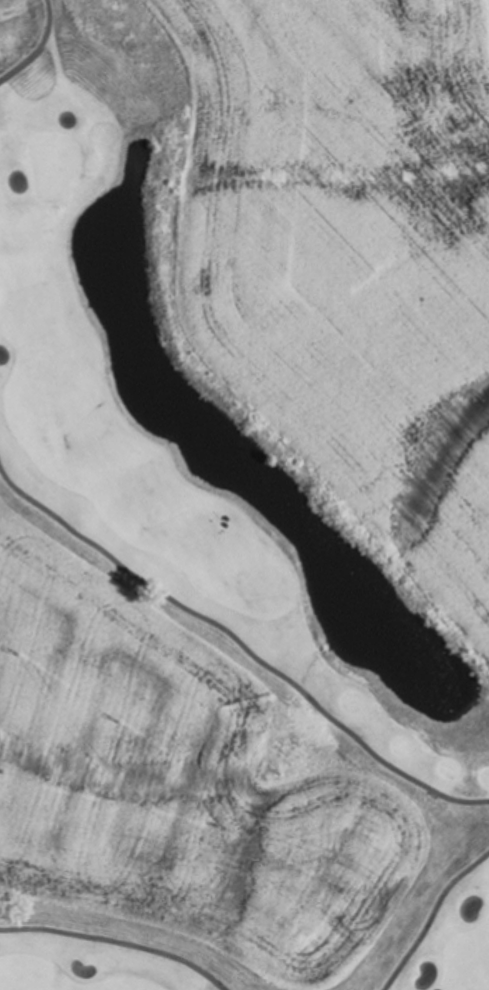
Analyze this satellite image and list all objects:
park: (478, 52)
park: (210, 468)
park: (105, 951)

